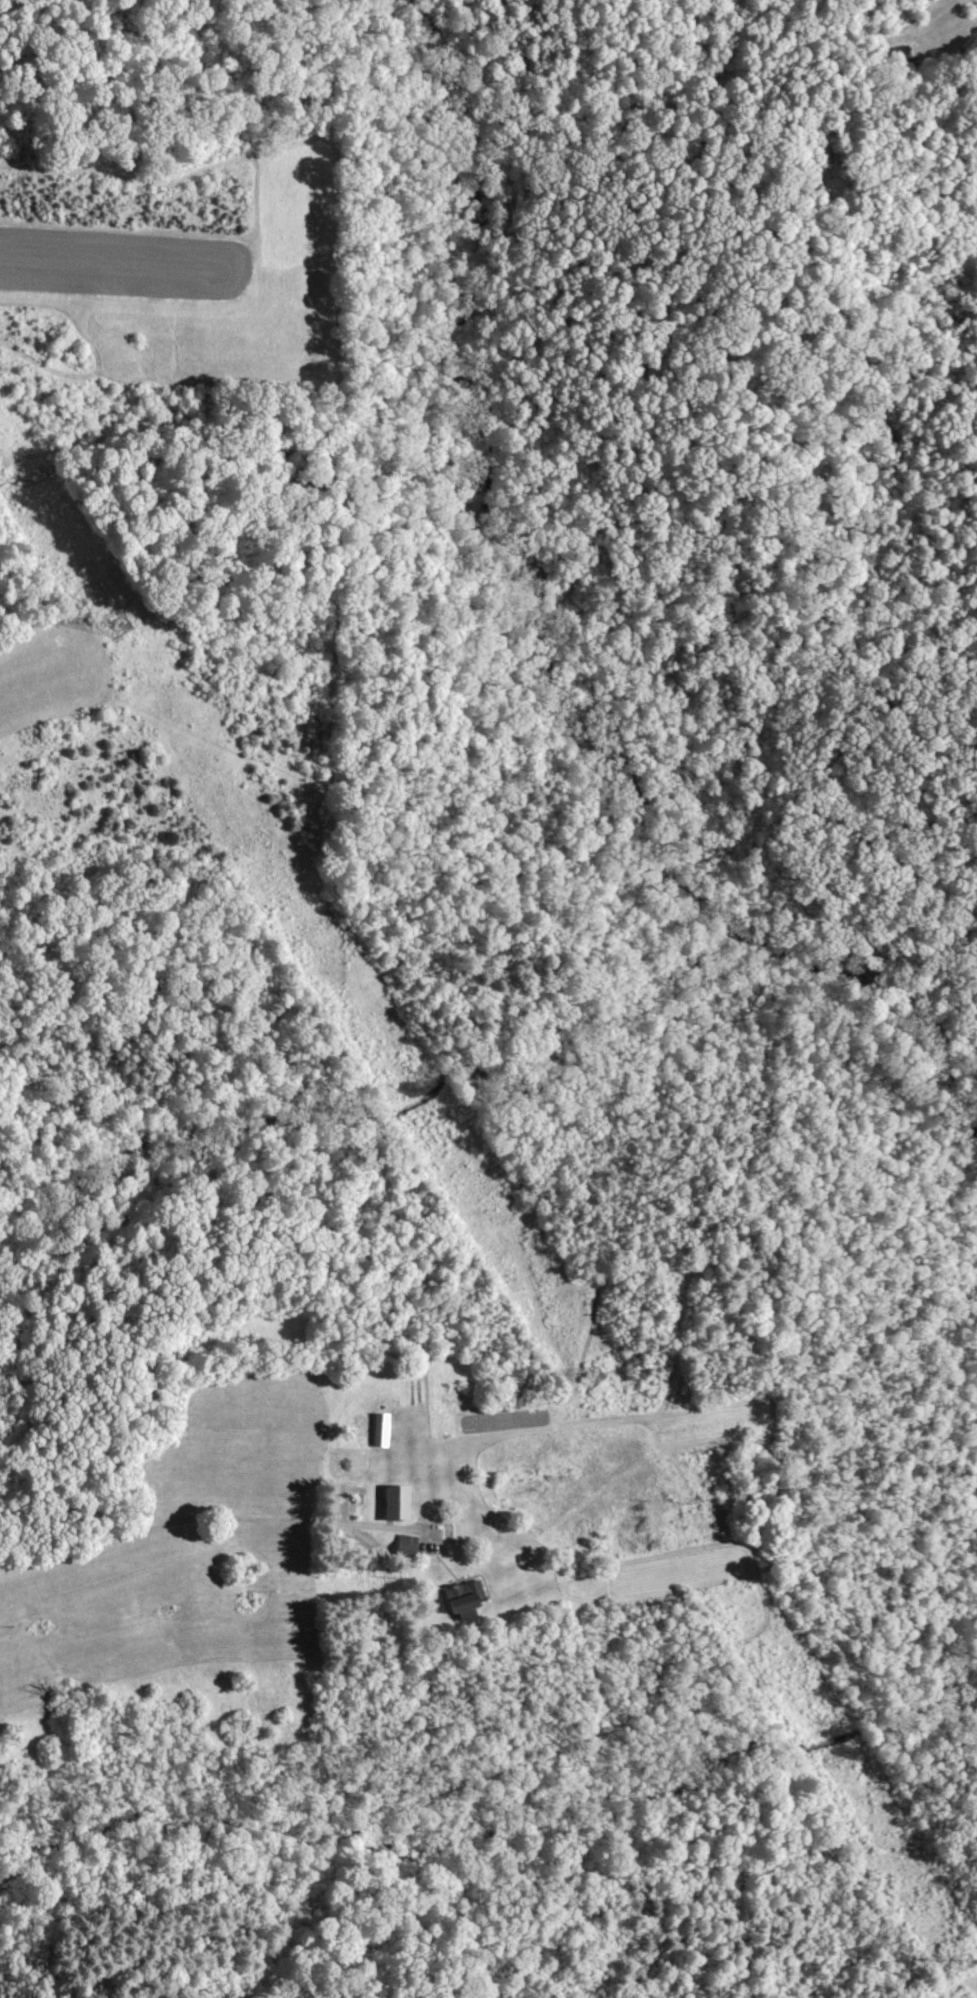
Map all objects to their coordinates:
power tower: (121, 624)
power tower: (589, 1374)
building: (377, 1430)
building: (391, 1503)
road: (196, 1513)
building: (403, 1545)
building: (460, 1596)
power tower: (967, 1970)

